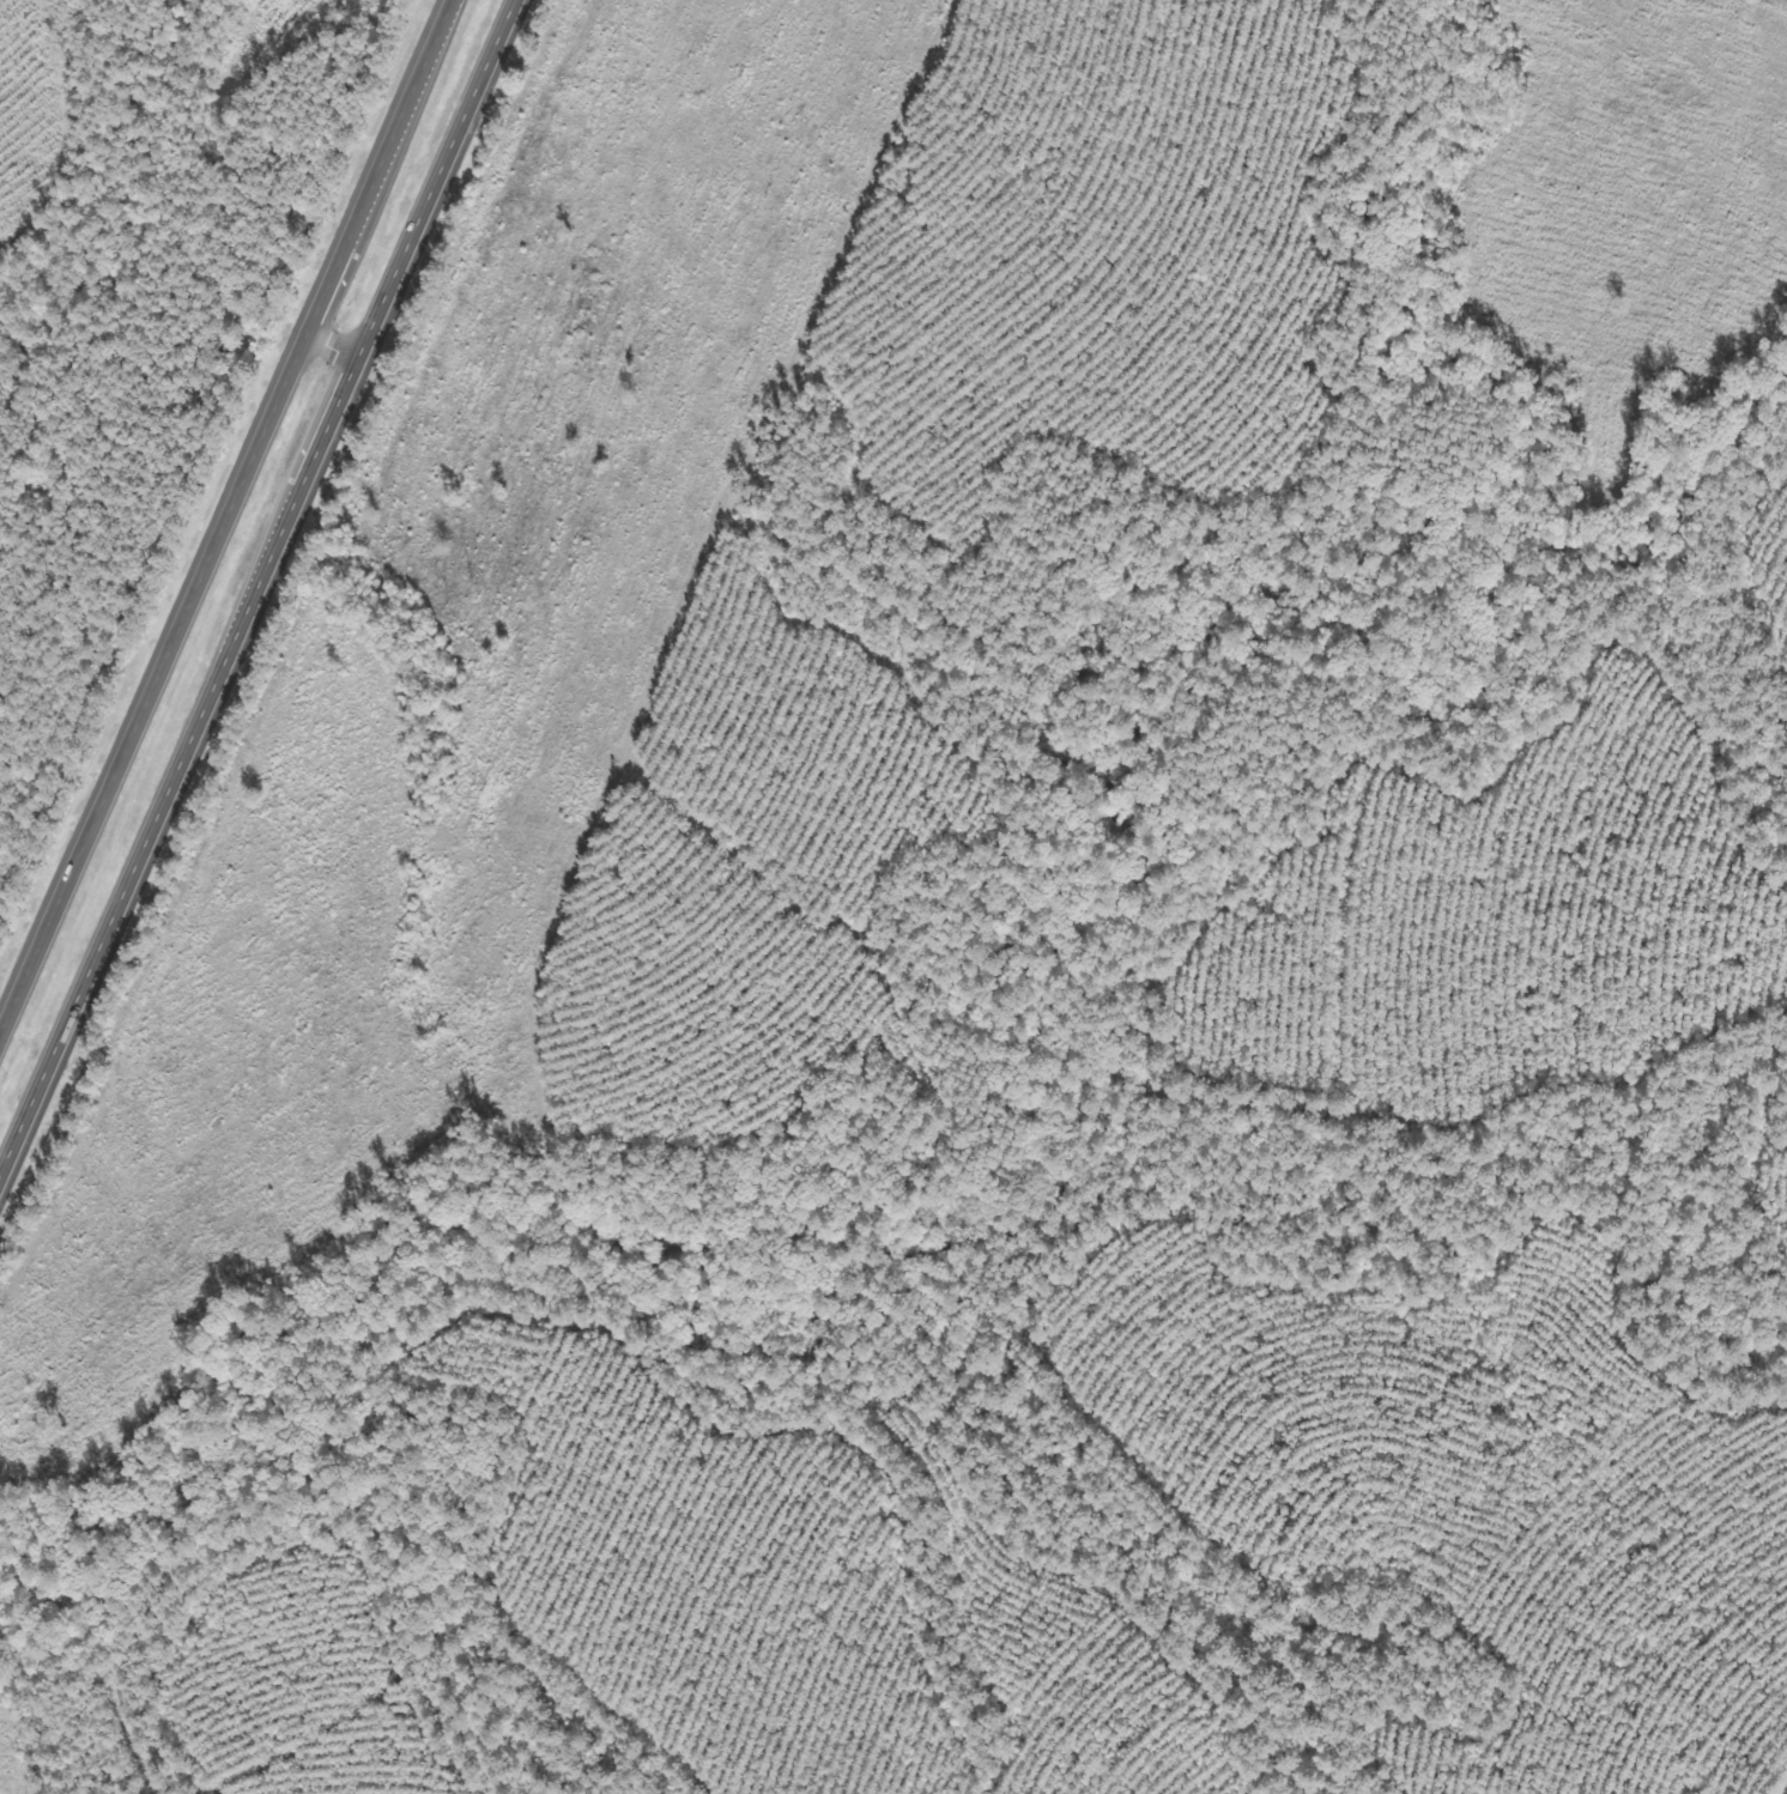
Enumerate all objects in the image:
road: (340, 349)
road: (231, 533)
road: (263, 592)

